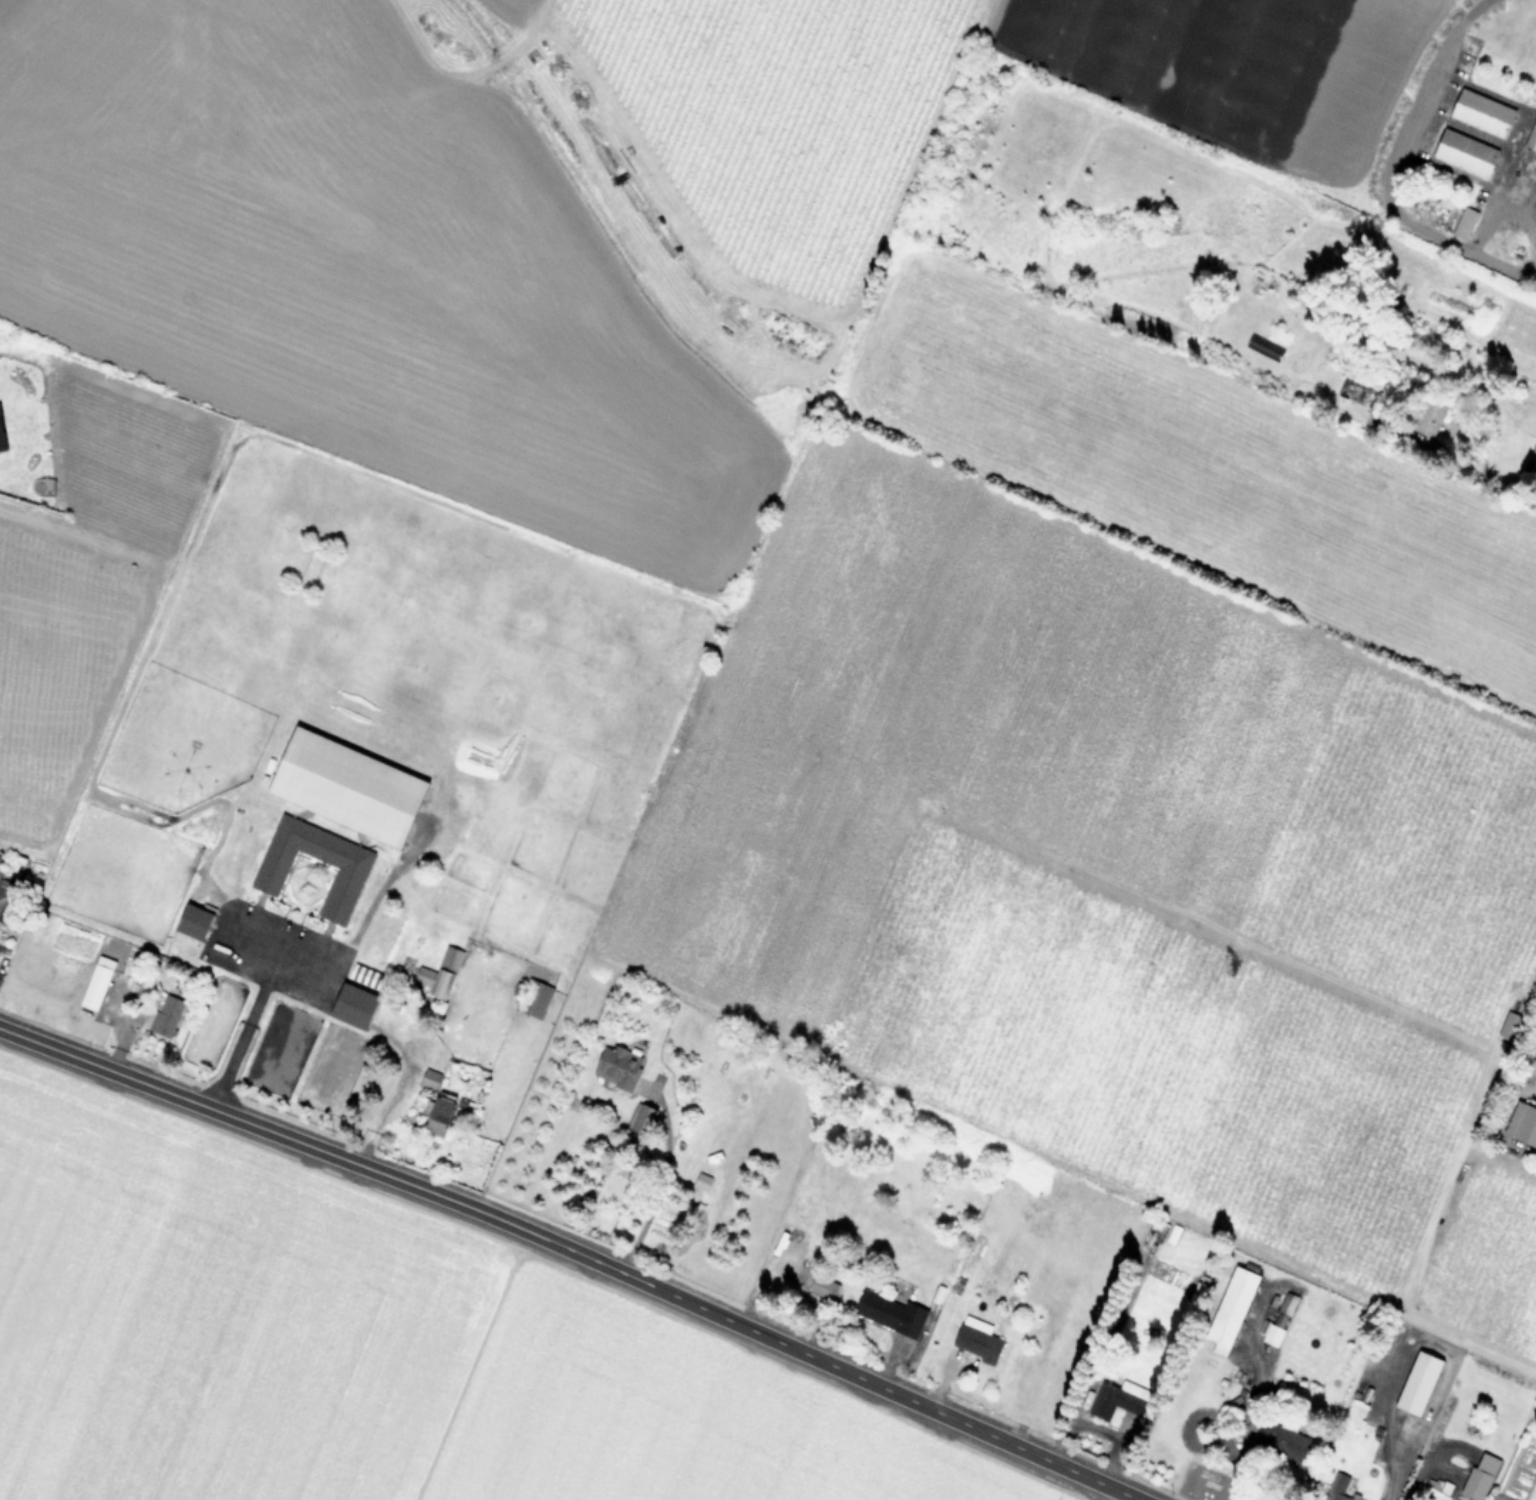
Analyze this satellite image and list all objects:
building: (1480, 113)
building: (1530, 136)
building: (1463, 153)
road: (1385, 171)
building: (1462, 223)
building: (1501, 247)
building: (1264, 348)
building: (1352, 394)
building: (1429, 418)
building: (1, 444)
building: (1534, 452)
road: (1504, 492)
crop: (844, 540)
building: (1314, 785)
building: (350, 787)
building: (349, 878)
building: (6, 899)
building: (196, 923)
road: (359, 928)
building: (440, 974)
building: (99, 984)
building: (533, 998)
building: (355, 1007)
road: (253, 1009)
building: (168, 1016)
building: (619, 1068)
road: (395, 1097)
building: (439, 1106)
building: (642, 1124)
building: (1523, 1125)
road: (661, 1177)
road: (571, 1252)
building: (824, 1289)
building: (1234, 1309)
building: (890, 1314)
building: (1277, 1330)
building: (979, 1344)
crop: (352, 1353)
building: (1422, 1385)
building: (1122, 1402)
building: (1282, 1443)
building: (1482, 1479)
building: (1340, 1487)

